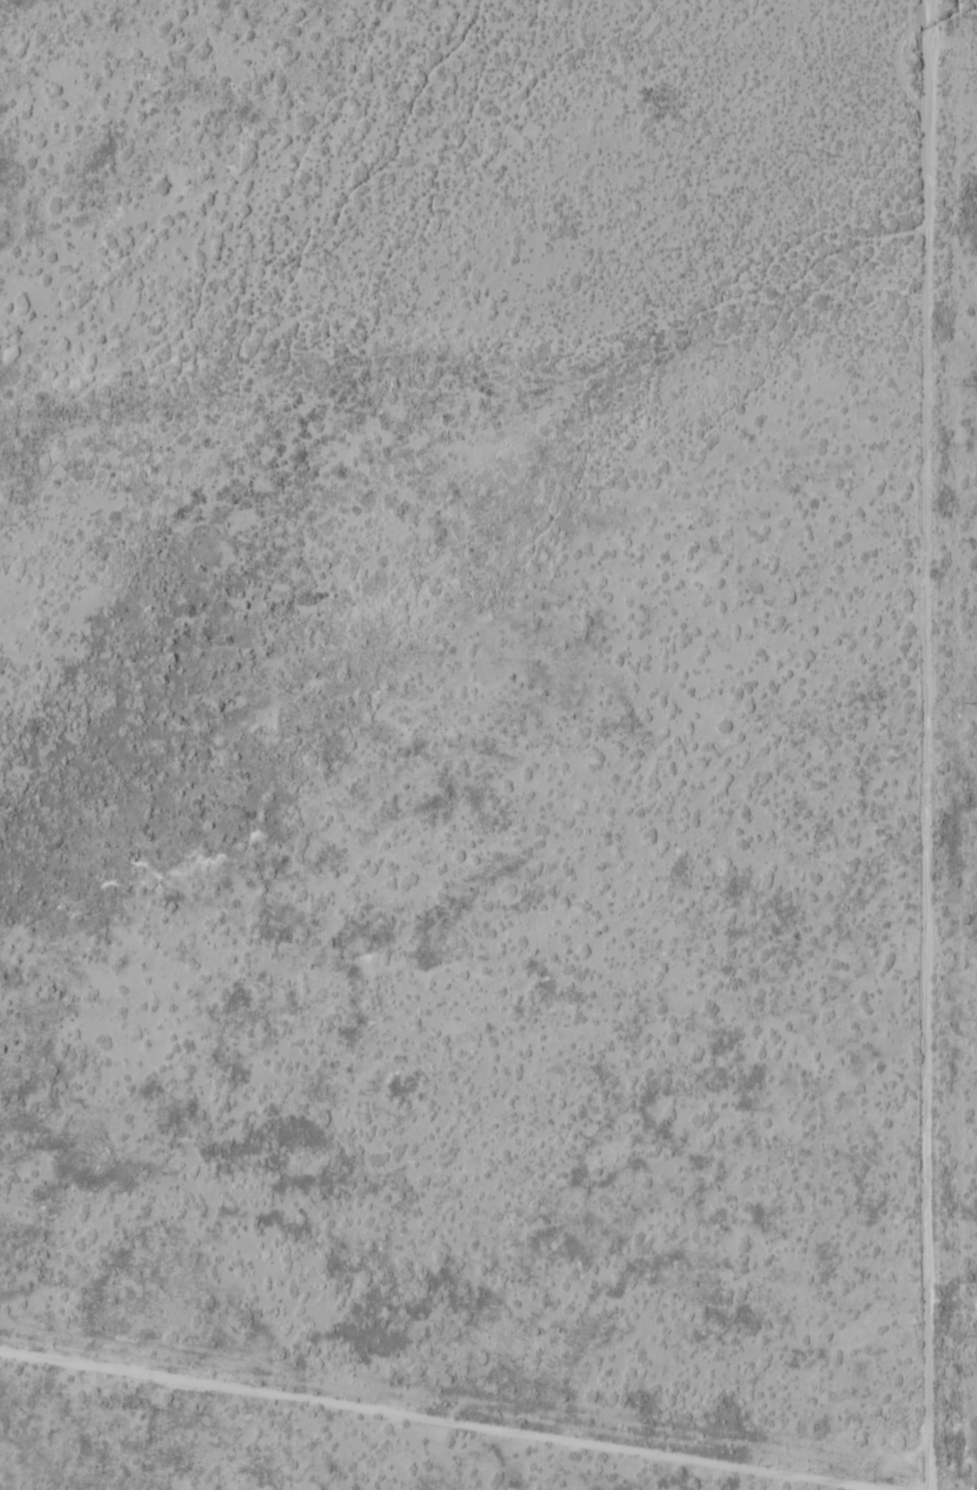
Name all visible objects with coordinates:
power tower: (952, 68)
power tower: (954, 383)
power tower: (952, 703)
road: (922, 745)
power tower: (951, 1020)
power tower: (954, 1335)

